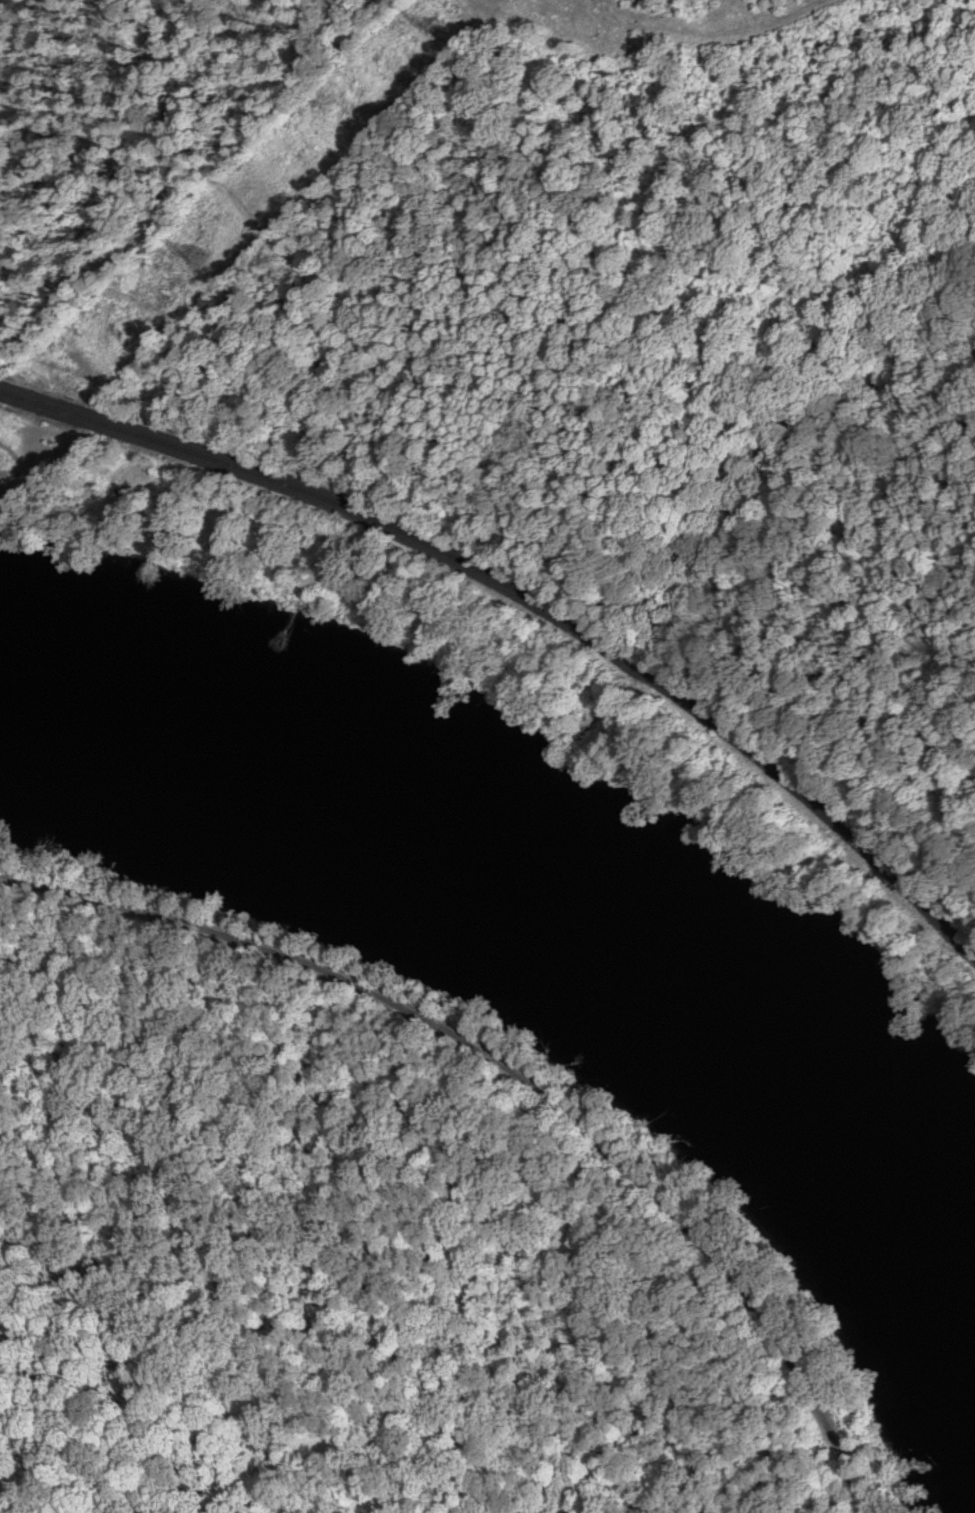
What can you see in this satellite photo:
power tower: (192, 254)
railway: (527, 604)
river: (558, 899)
road: (522, 1076)

